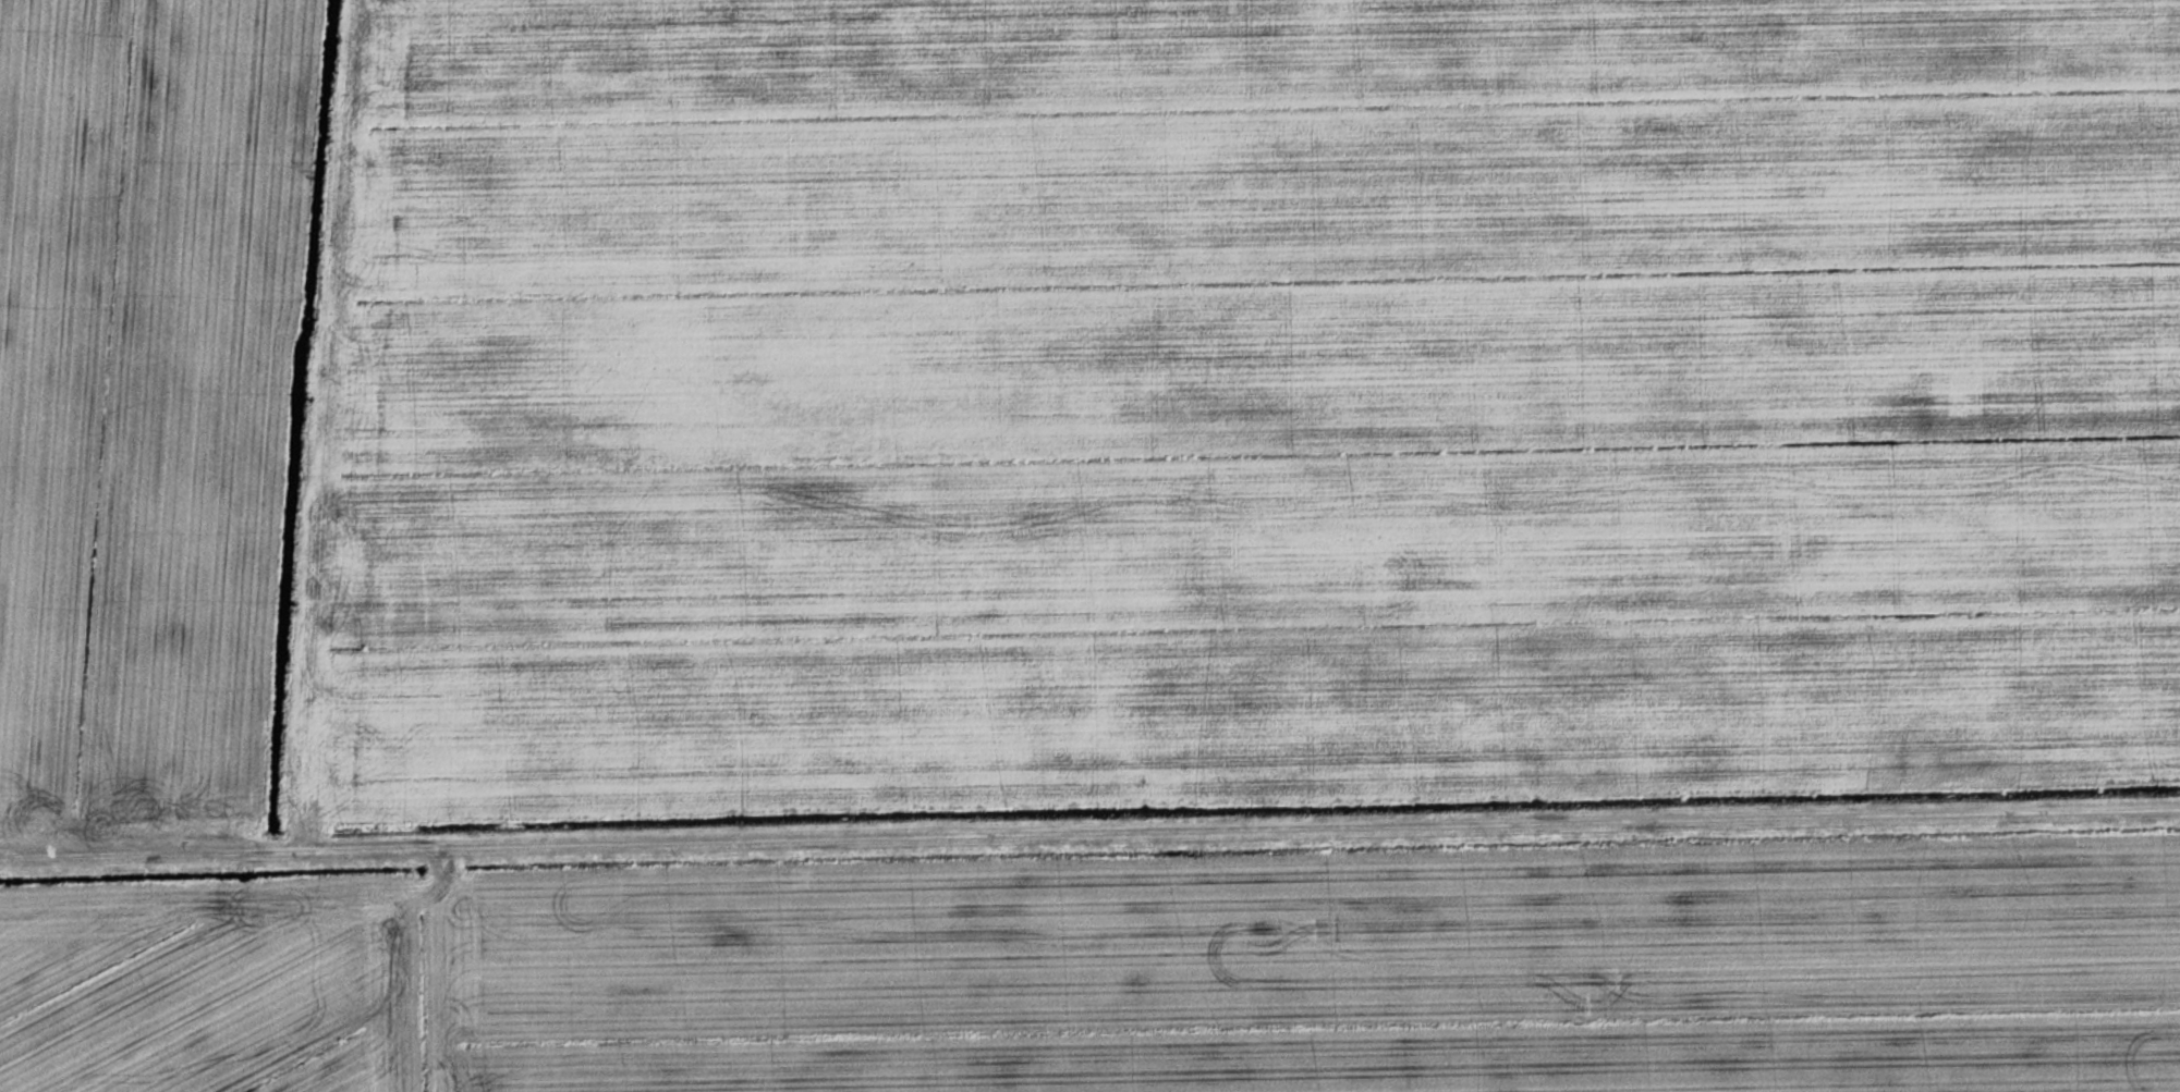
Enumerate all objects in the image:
road: (1089, 839)
crop: (1131, 973)

